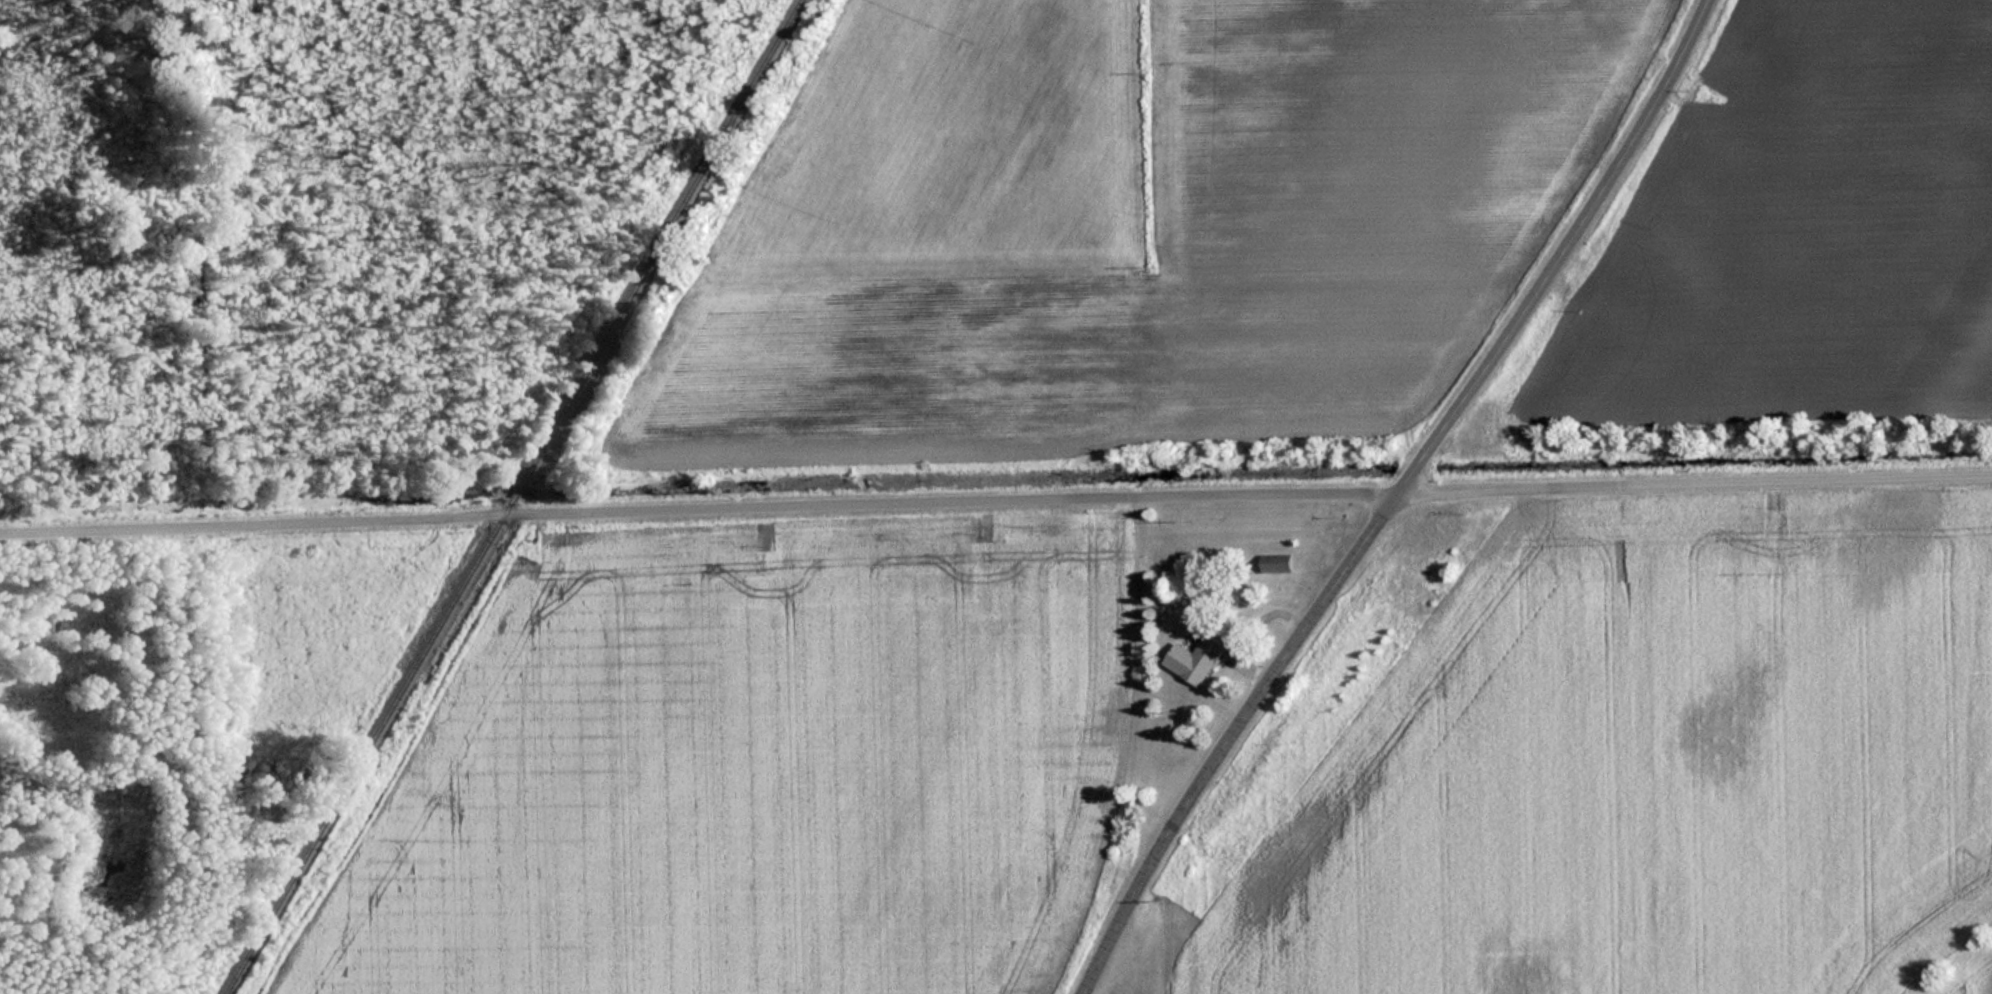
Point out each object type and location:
railway: (659, 242)
railway: (514, 492)
road: (995, 499)
road: (1401, 499)
building: (1278, 563)
building: (1197, 659)
railway: (367, 746)

